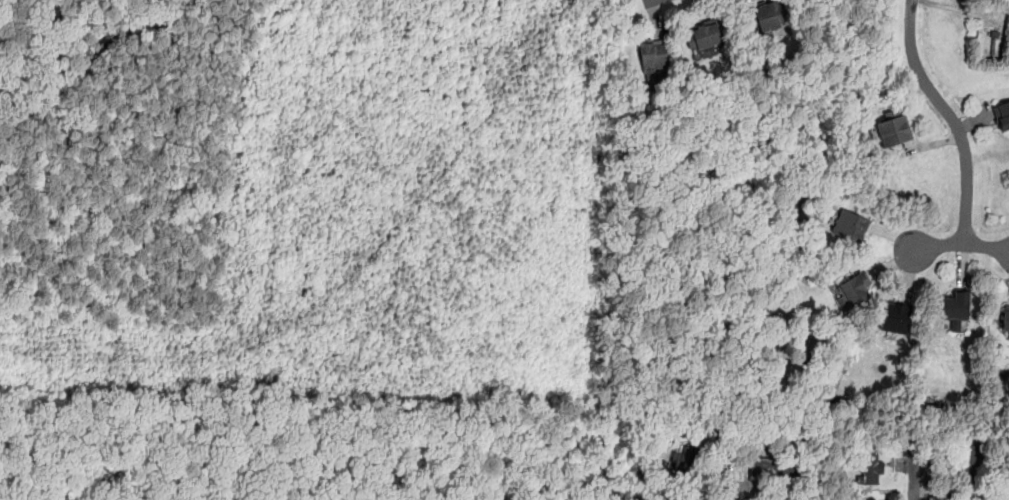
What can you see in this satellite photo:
road: (645, 1)
building: (768, 15)
building: (702, 35)
building: (653, 54)
road: (90, 58)
road: (951, 114)
building: (1001, 114)
building: (893, 127)
building: (850, 224)
road: (937, 244)
road: (986, 245)
building: (853, 289)
building: (954, 308)
building: (895, 317)
building: (1005, 320)
building: (1008, 335)
building: (965, 462)
building: (688, 463)
building: (774, 466)
building: (871, 466)
road: (726, 468)
road: (912, 473)
building: (864, 499)

